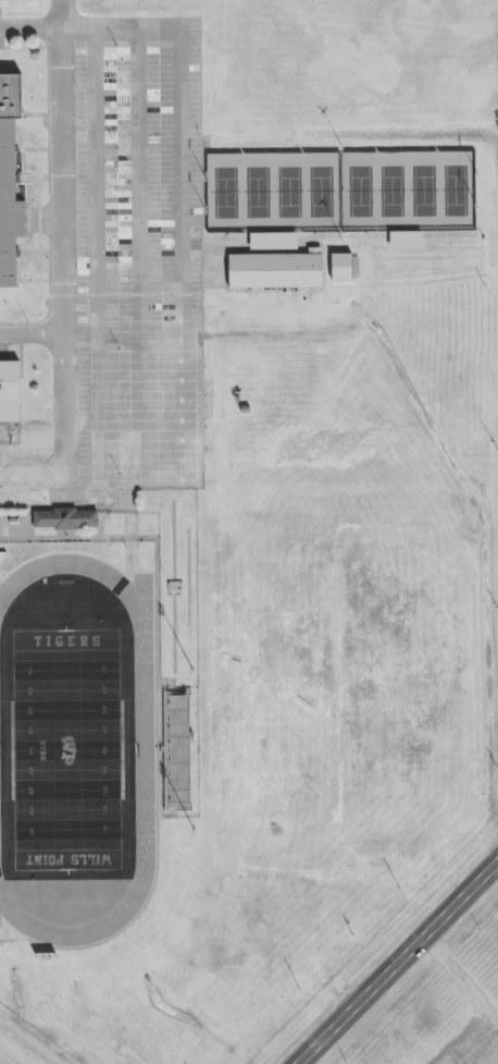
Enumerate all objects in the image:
road: (48, 27)
road: (182, 111)
building: (9, 176)
building: (403, 242)
road: (70, 256)
building: (339, 265)
building: (274, 268)
road: (35, 335)
building: (9, 390)
road: (186, 457)
road: (26, 474)
building: (63, 521)
building: (176, 753)
road: (399, 964)
road: (470, 981)
road: (16, 1051)

